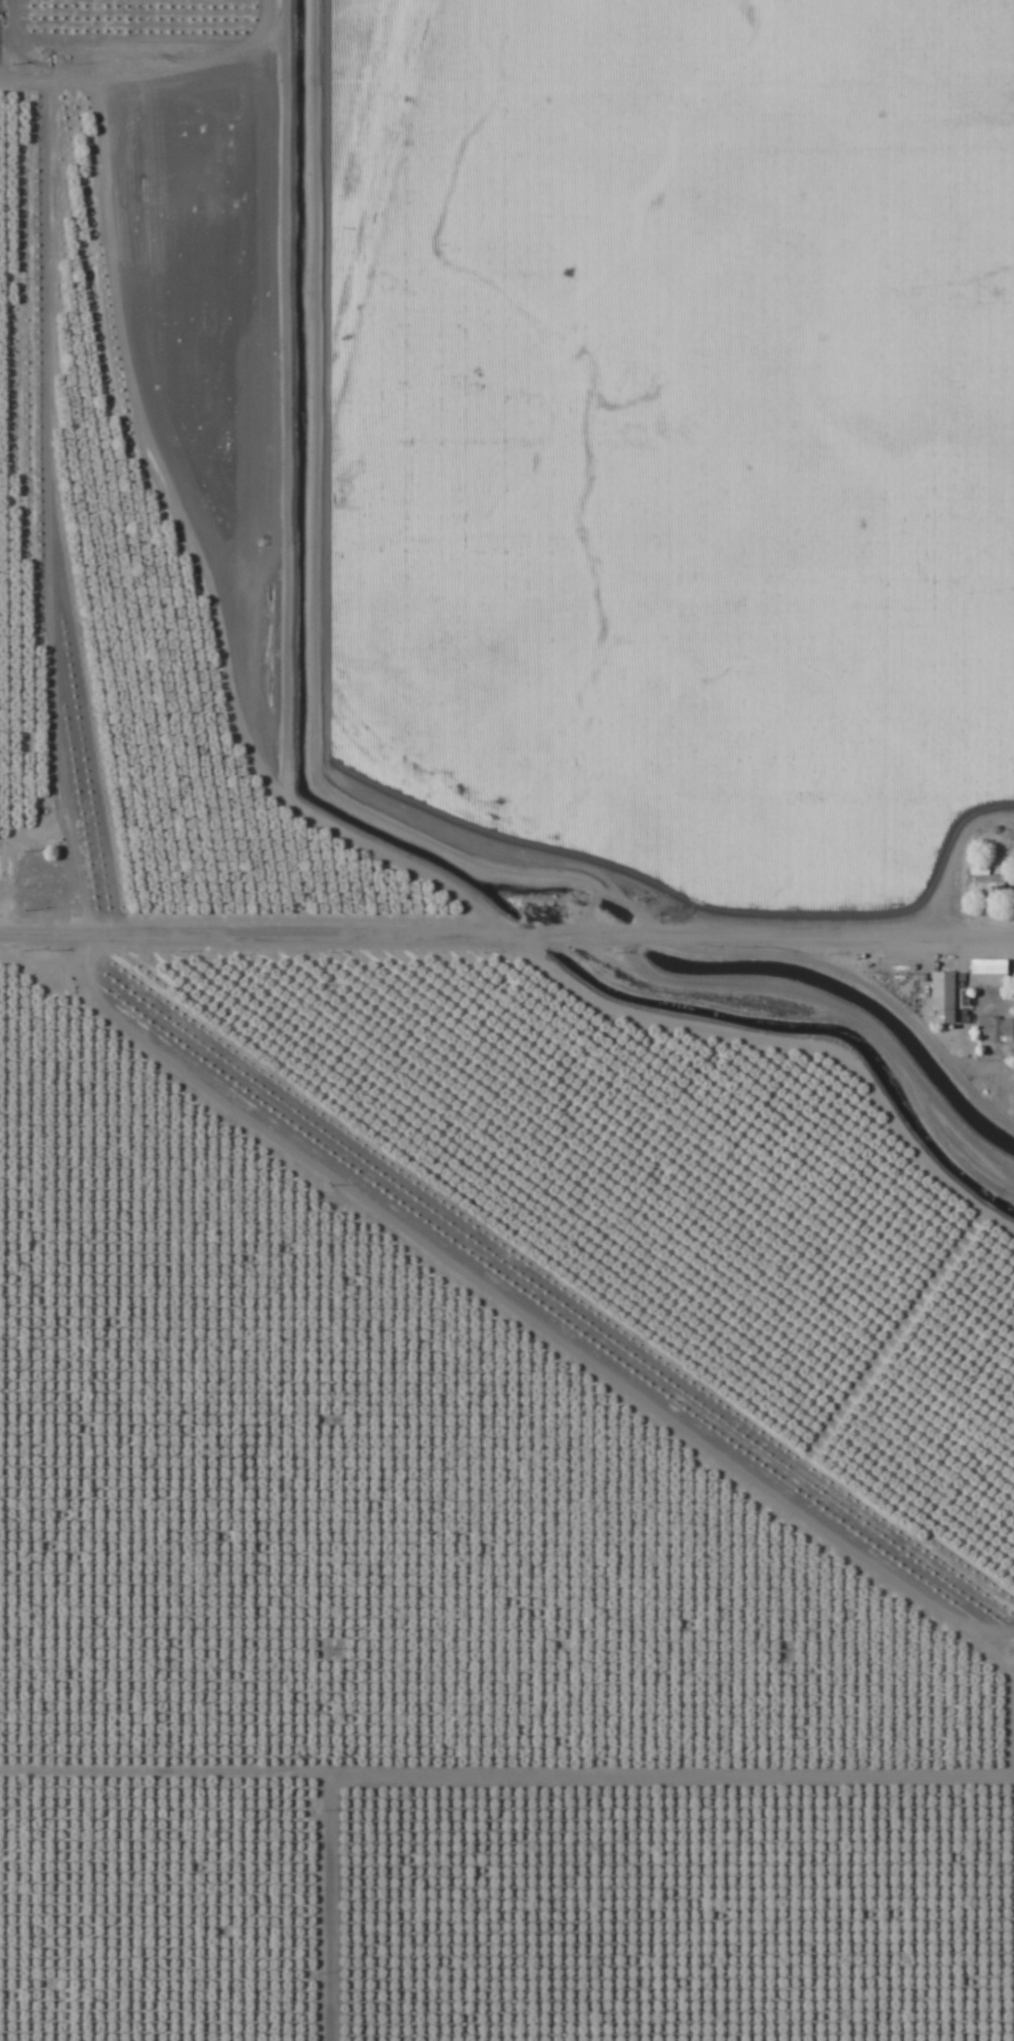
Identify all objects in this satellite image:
road: (46, 466)
building: (985, 879)
road: (57, 930)
road: (564, 933)
building: (989, 974)
building: (942, 998)
crop: (507, 1020)
building: (1001, 1031)
road: (515, 1313)
building: (91, 1821)
building: (275, 1832)
building: (268, 1893)
building: (22, 1936)
building: (28, 1975)
building: (109, 1975)
building: (284, 1977)

